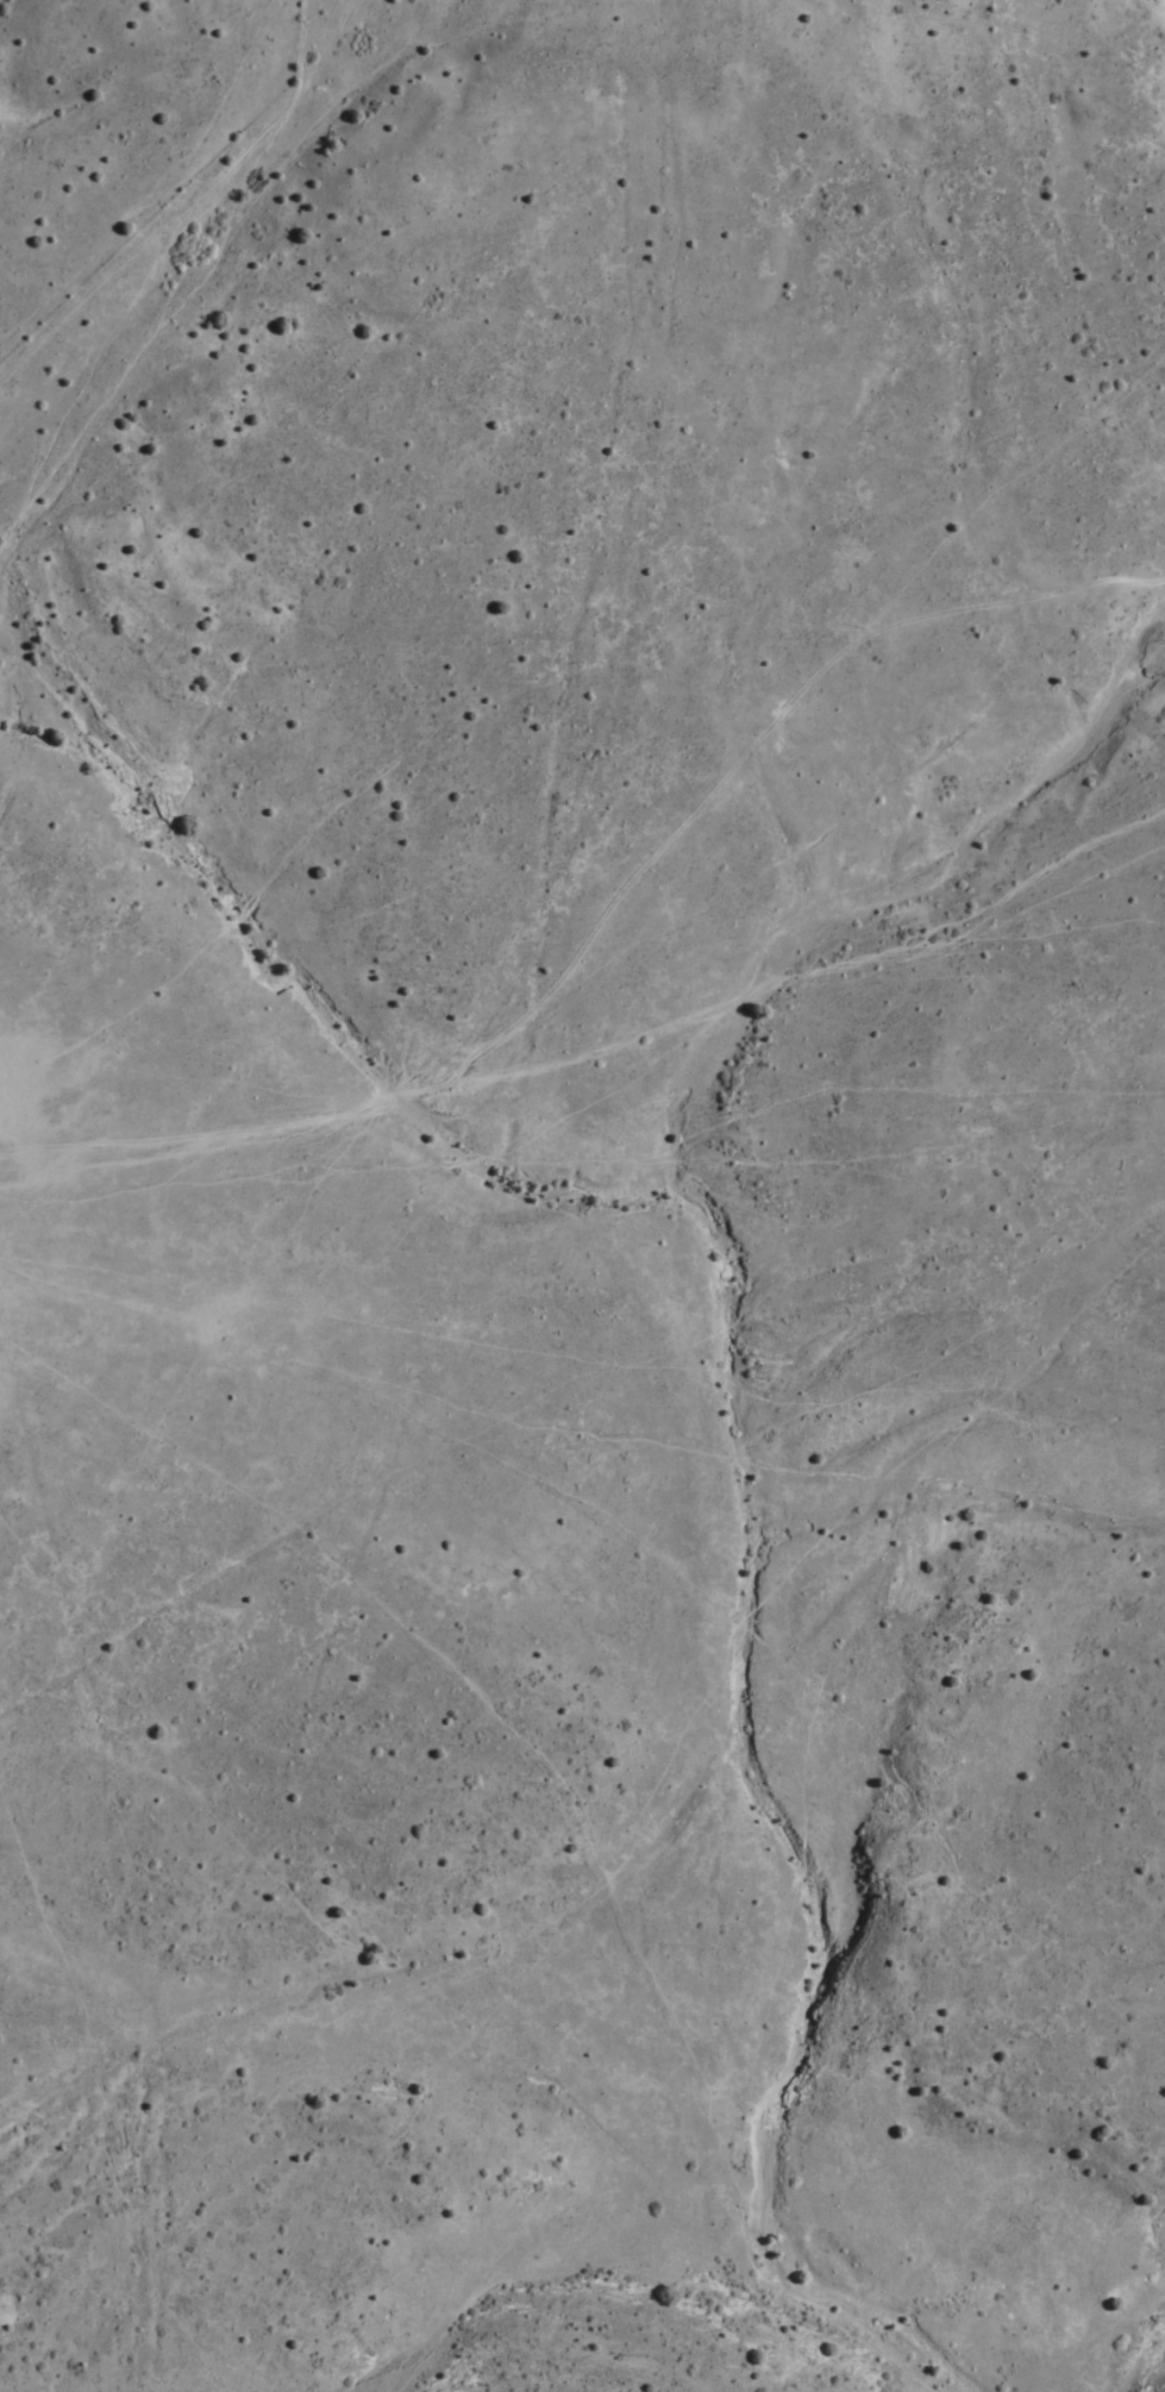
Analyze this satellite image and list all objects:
road: (238, 277)
road: (595, 652)
road: (639, 1928)

